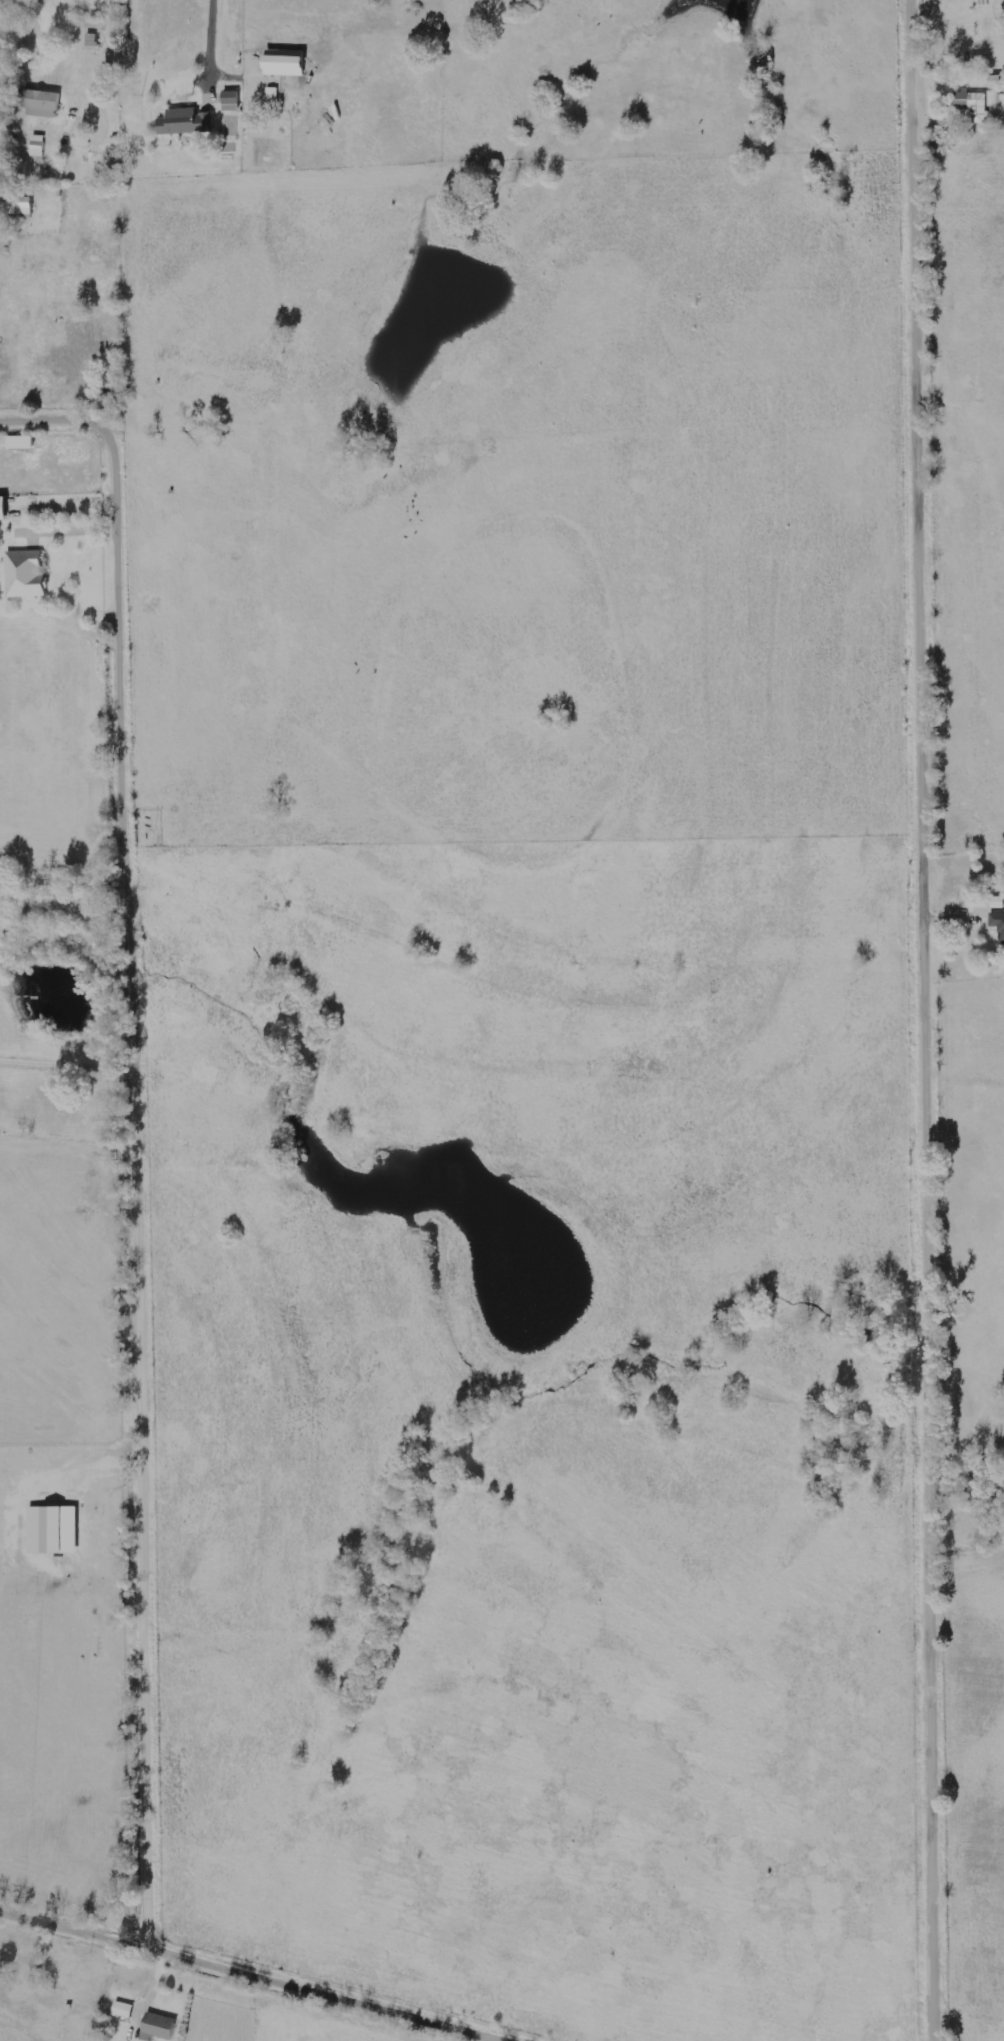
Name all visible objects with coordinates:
building: (84, 0)
road: (209, 35)
building: (288, 64)
building: (272, 95)
building: (232, 102)
building: (40, 104)
building: (974, 105)
building: (1001, 105)
building: (186, 125)
building: (82, 140)
building: (38, 146)
building: (22, 210)
building: (23, 443)
building: (5, 509)
building: (998, 924)
road: (932, 1020)
road: (143, 1136)
road: (247, 1976)
building: (124, 2010)
building: (160, 2028)

